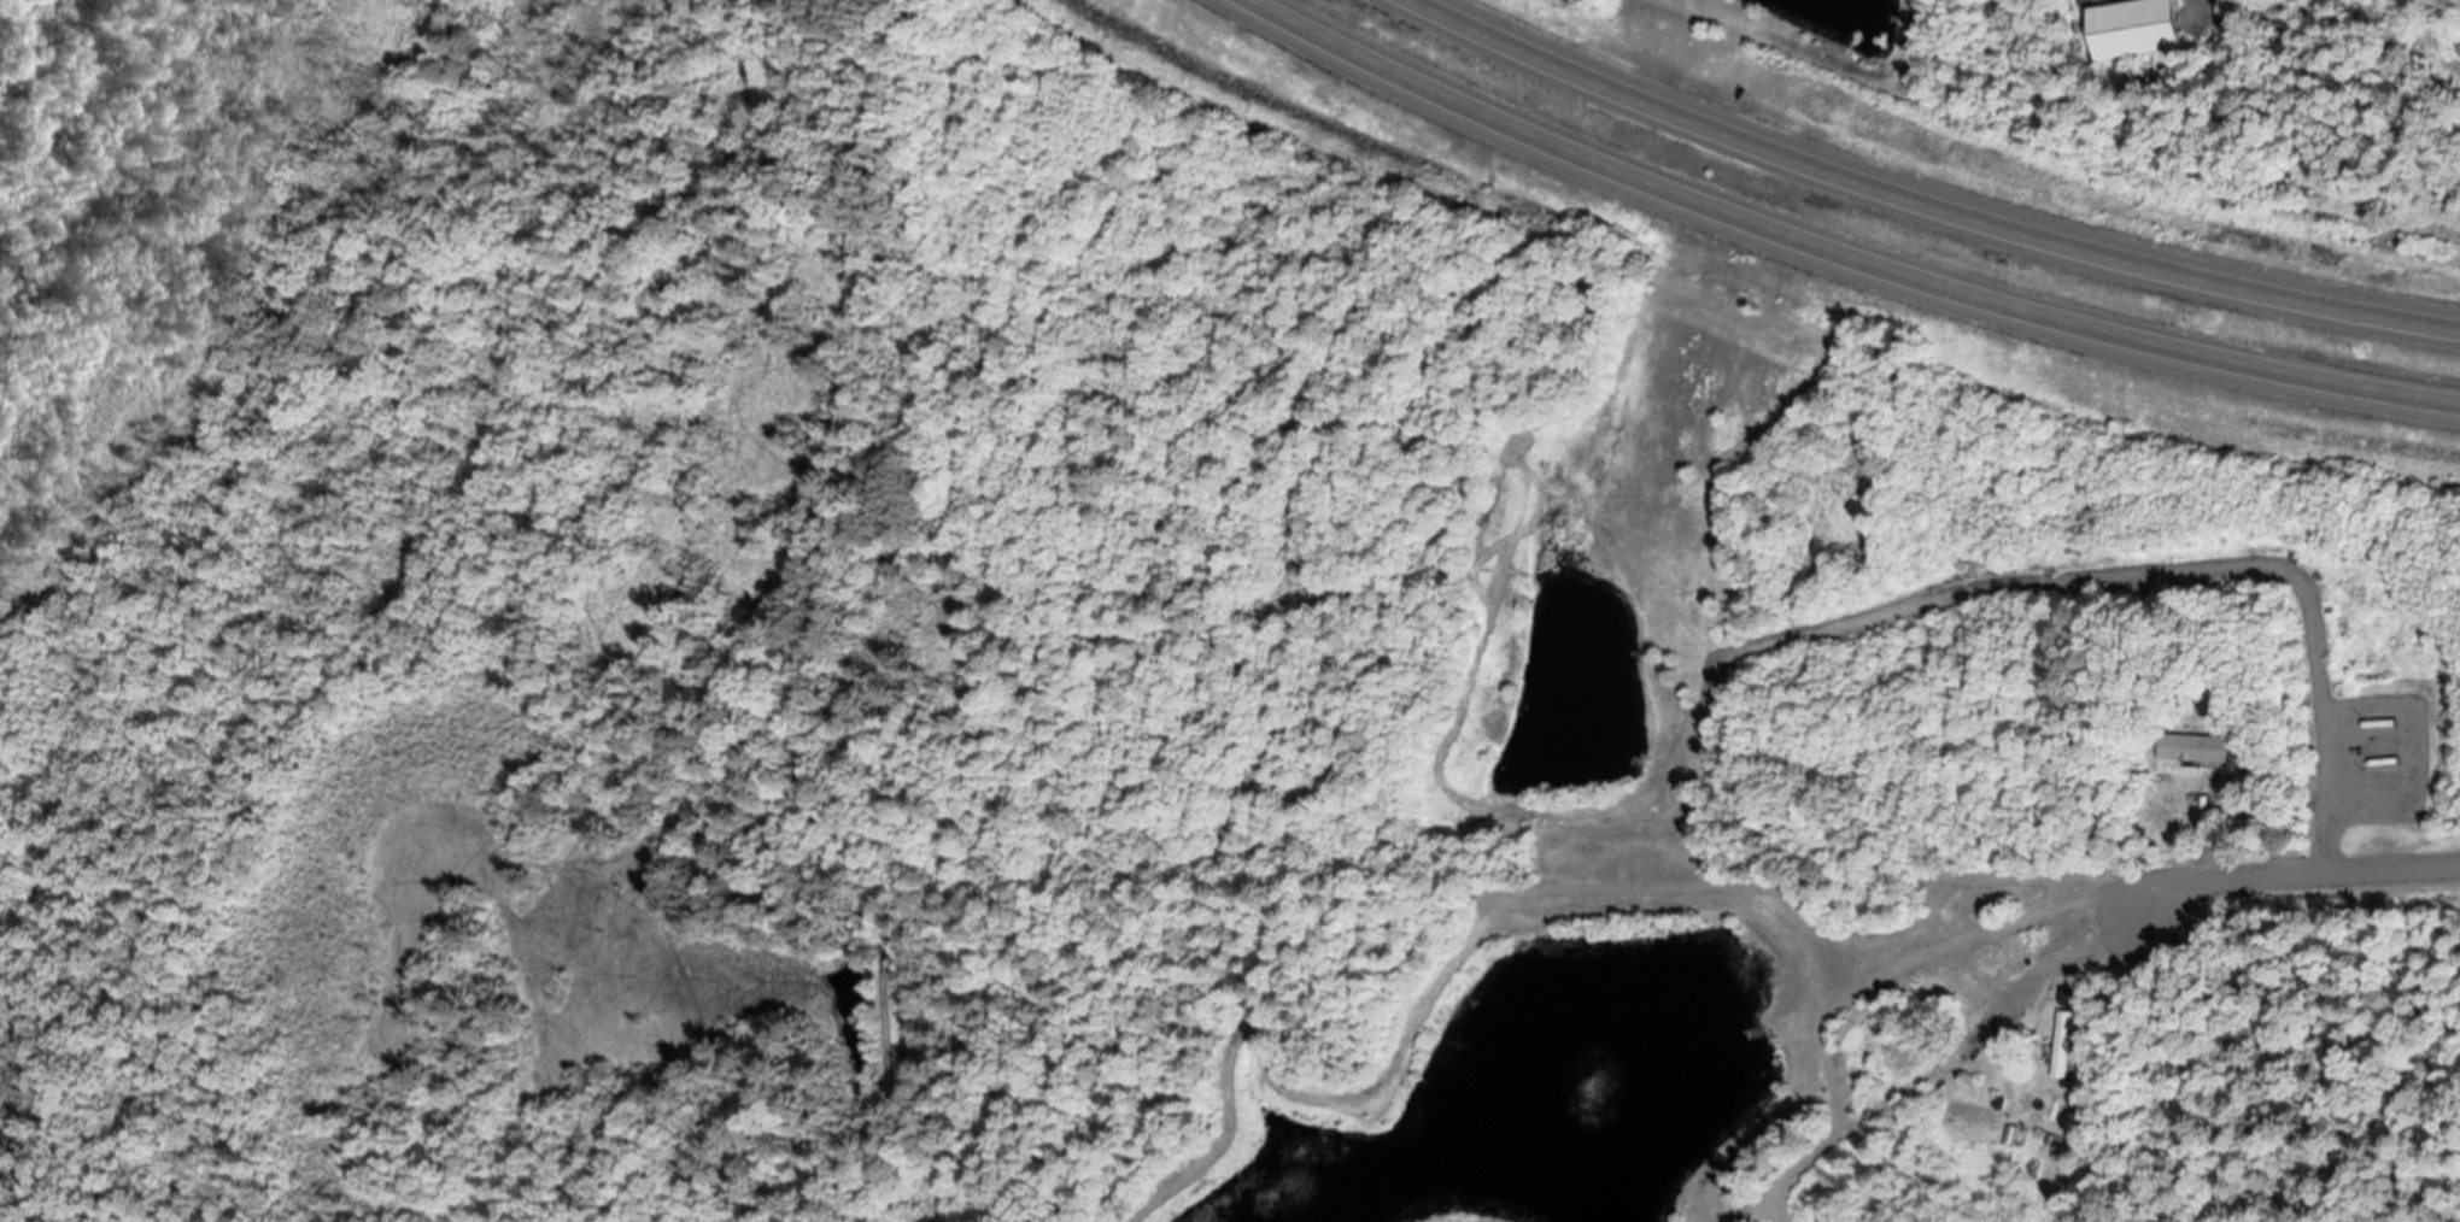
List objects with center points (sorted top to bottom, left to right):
building: (2136, 29)
road: (1925, 201)
road: (1841, 252)
road: (2172, 566)
building: (2196, 747)
road: (2294, 876)
road: (1619, 880)
building: (2061, 1044)
road: (1938, 1073)

